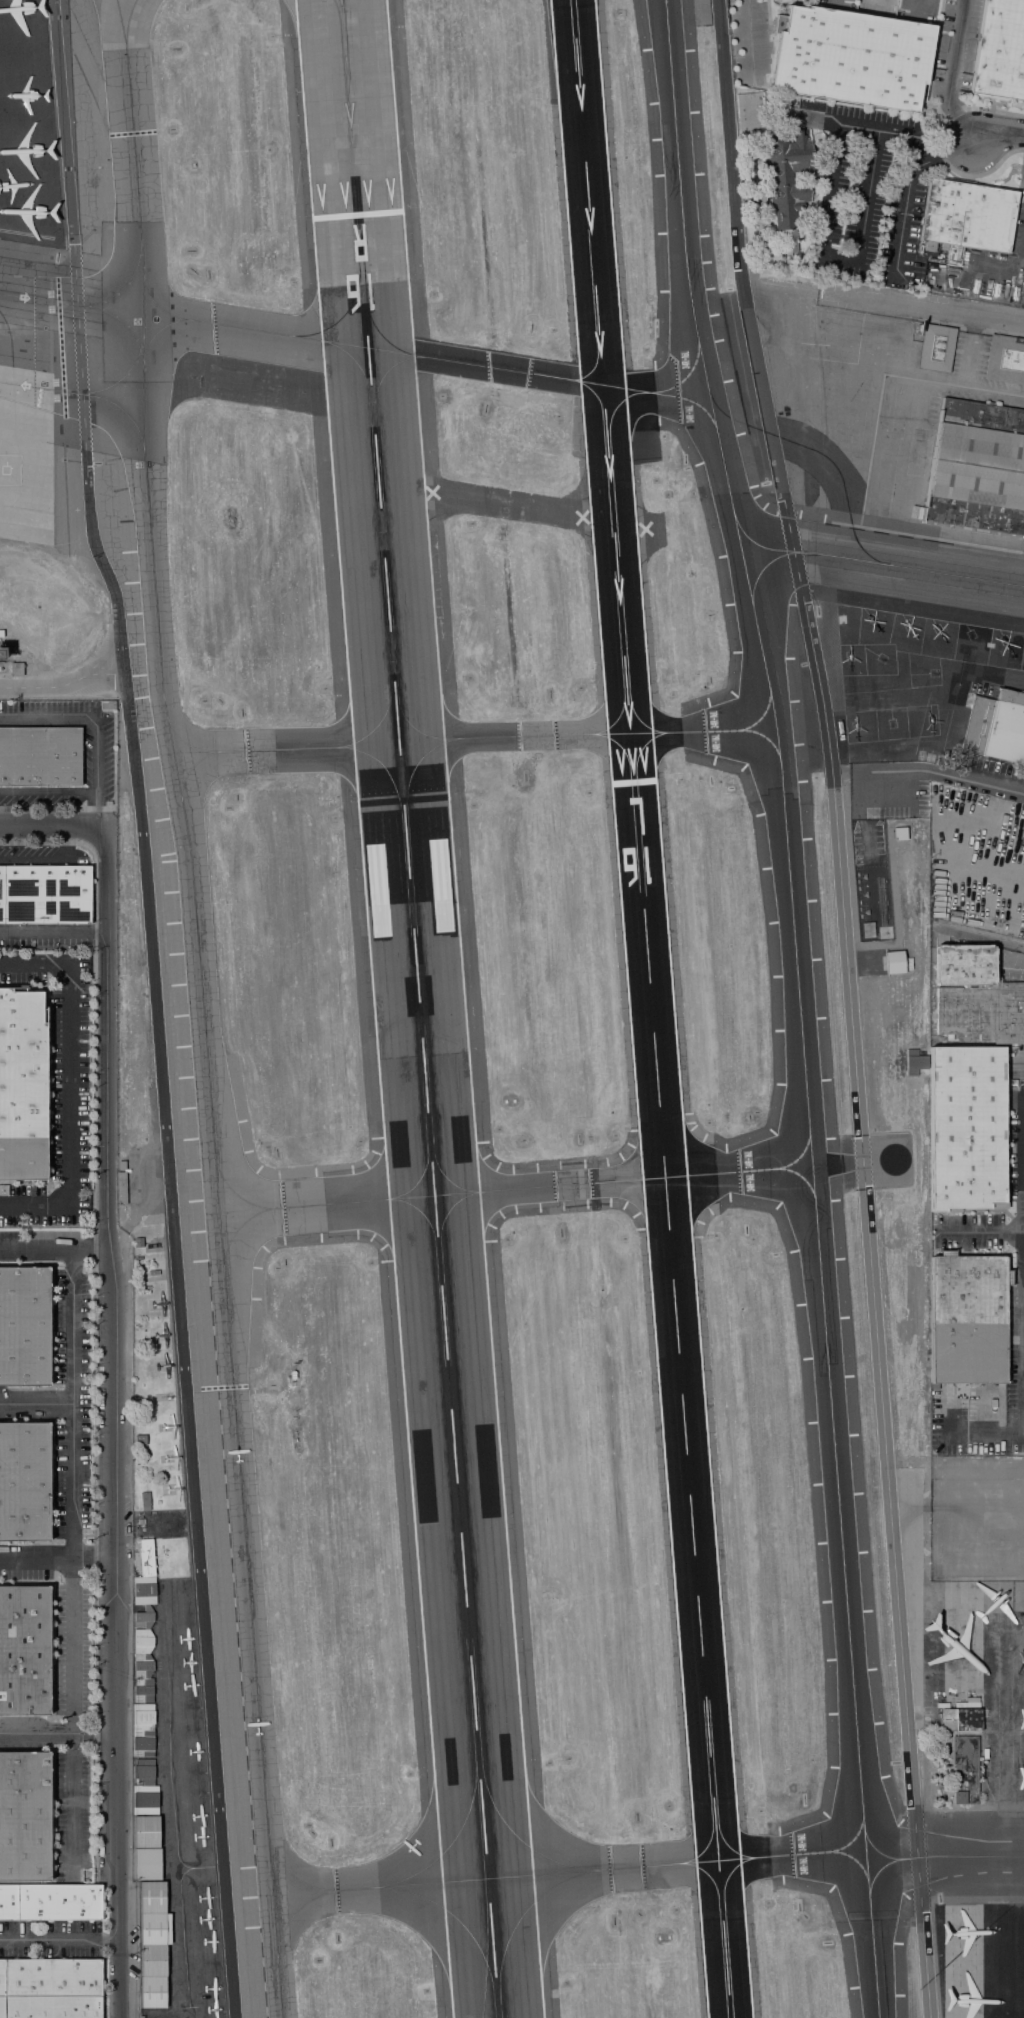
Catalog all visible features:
airport taxiway: (336, 13)
airport taxiway: (128, 25)
airport taxiway: (119, 26)
road: (744, 38)
building: (999, 52)
building: (851, 57)
road: (951, 76)
road: (989, 109)
road: (998, 134)
building: (787, 184)
building: (762, 201)
building: (966, 218)
airport taxiway: (119, 287)
airport taxiway: (156, 306)
airport taxiway: (348, 307)
airport taxiway: (83, 308)
road: (924, 309)
airport taxiway: (372, 325)
airport taxiway: (155, 332)
airport taxiway: (276, 333)
building: (936, 348)
airport taxiway: (595, 356)
building: (1005, 360)
airport taxiway: (358, 369)
airport taxiway: (603, 369)
airport taxiway: (549, 376)
airport taxiway: (685, 376)
airport taxiway: (379, 378)
airport taxiway: (69, 393)
airport taxiway: (597, 395)
airport taxiway: (623, 422)
airport hangar: (977, 468)
building: (977, 468)
helipad: (7, 474)
airport taxiway: (25, 513)
airport apron: (908, 528)
airport taxiway: (868, 561)
airport taxiway: (772, 572)
helipad: (841, 620)
helipad: (873, 626)
helipad: (905, 630)
helipad: (943, 635)
helipad: (989, 647)
building: (0, 654)
helipad: (881, 661)
helipad: (849, 663)
building: (16, 669)
helipad: (933, 675)
road: (63, 686)
building: (107, 705)
airport taxiway: (755, 714)
airport taxiway: (783, 717)
airport taxiway: (635, 719)
helipad: (930, 721)
airport taxiway: (414, 725)
helipad: (892, 725)
road: (95, 727)
building: (996, 727)
helipad: (857, 728)
airport taxiway: (369, 730)
airport taxiway: (728, 730)
airport taxiway: (515, 738)
airport taxiway: (763, 741)
airport taxiway: (790, 743)
airport taxiway: (187, 747)
airport taxiway: (623, 748)
airport taxiway: (286, 750)
building: (40, 756)
road: (900, 770)
parking lot: (904, 802)
road: (57, 811)
road: (53, 827)
building: (898, 834)
parking lot: (867, 844)
road: (39, 863)
road: (870, 887)
building: (44, 894)
road: (894, 920)
road: (53, 937)
road: (980, 939)
building: (893, 963)
road: (53, 965)
parking lot: (23, 970)
building: (976, 996)
airport taxiway: (799, 1005)
road: (848, 1005)
road: (155, 1006)
airport runway: (418, 1008)
airport runway: (650, 1008)
airport: (514, 1009)
airport taxiway: (202, 1034)
building: (22, 1085)
parking lot: (68, 1086)
road: (69, 1086)
building: (966, 1129)
airport taxiway: (791, 1150)
road: (1023, 1156)
airport taxiway: (657, 1161)
airport taxiway: (670, 1164)
building: (121, 1165)
airport taxiway: (746, 1172)
airport taxiway: (444, 1177)
airport taxiway: (420, 1180)
airport taxiway: (548, 1187)
airport taxiway: (675, 1187)
building: (121, 1188)
airport taxiway: (656, 1189)
building: (4, 1190)
airport taxiway: (236, 1197)
airport taxiway: (353, 1203)
road: (52, 1206)
airport taxiway: (449, 1209)
airport taxiway: (419, 1211)
airport taxiway: (237, 1224)
road: (1014, 1231)
road: (975, 1232)
building: (139, 1243)
road: (54, 1249)
building: (139, 1258)
building: (139, 1268)
building: (140, 1287)
road: (94, 1317)
building: (967, 1319)
building: (24, 1326)
building: (140, 1345)
building: (142, 1354)
road: (1023, 1398)
road: (36, 1406)
road: (983, 1418)
building: (139, 1421)
road: (114, 1425)
building: (140, 1439)
building: (24, 1481)
building: (145, 1501)
building: (140, 1521)
road: (57, 1559)
road: (73, 1561)
road: (1022, 1588)
building: (144, 1624)
building: (24, 1650)
building: (960, 1719)
building: (143, 1730)
road: (58, 1735)
building: (964, 1770)
building: (143, 1787)
building: (24, 1816)
building: (146, 1831)
airport taxiway: (509, 1834)
airport taxiway: (456, 1837)
airport taxiway: (721, 1838)
airport taxiway: (708, 1839)
airport taxiway: (846, 1839)
airport taxiway: (885, 1845)
airport taxiway: (790, 1855)
airport taxiway: (944, 1858)
building: (147, 1864)
airport taxiway: (602, 1871)
airport taxiway: (852, 1874)
airport taxiway: (888, 1875)
airport taxiway: (726, 1882)
airport taxiway: (709, 1883)
airport taxiway: (305, 1885)
airport taxiway: (359, 1890)
building: (50, 1902)
airport taxiway: (524, 1913)
airport taxiway: (456, 1918)
road: (59, 1941)
building: (153, 1945)
airport taxiway: (486, 1956)
building: (50, 1988)

